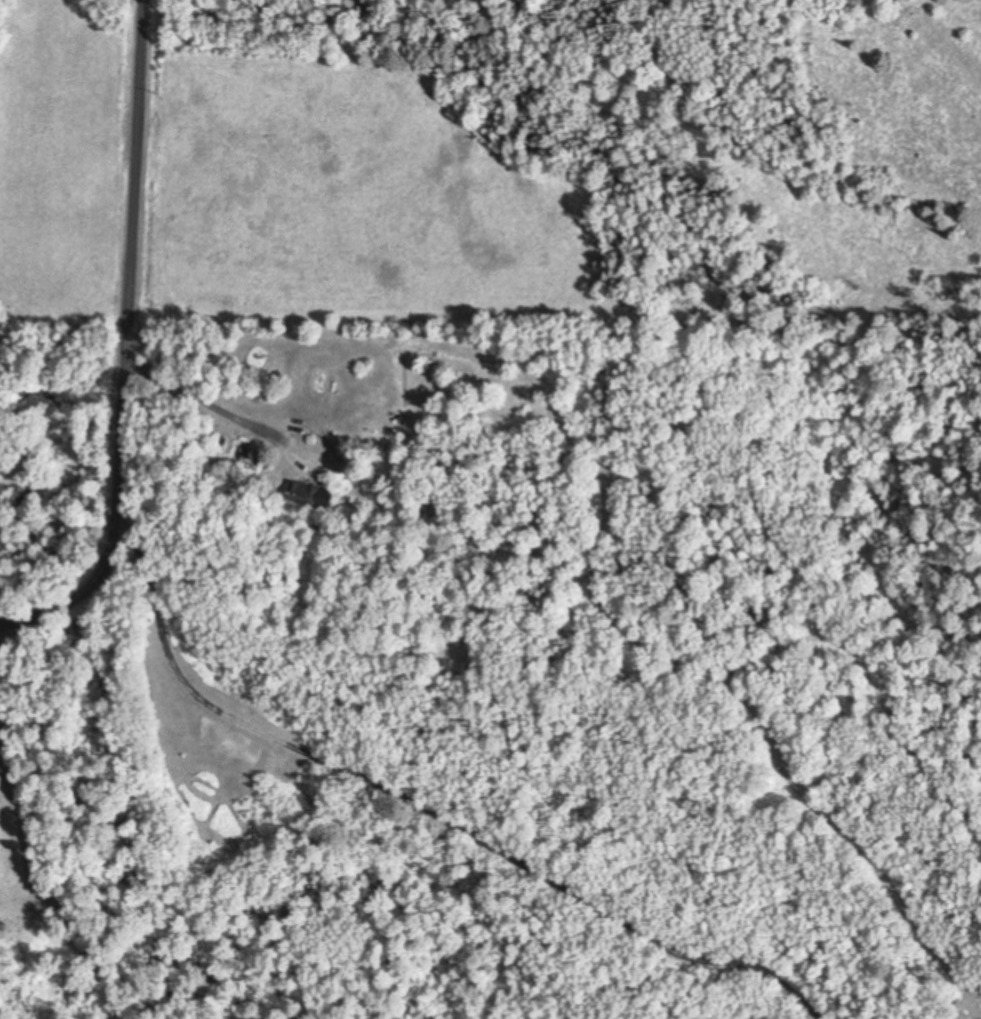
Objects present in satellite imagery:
road: (128, 349)
road: (196, 400)
building: (311, 491)
building: (1, 673)
building: (3, 678)
road: (35, 893)

